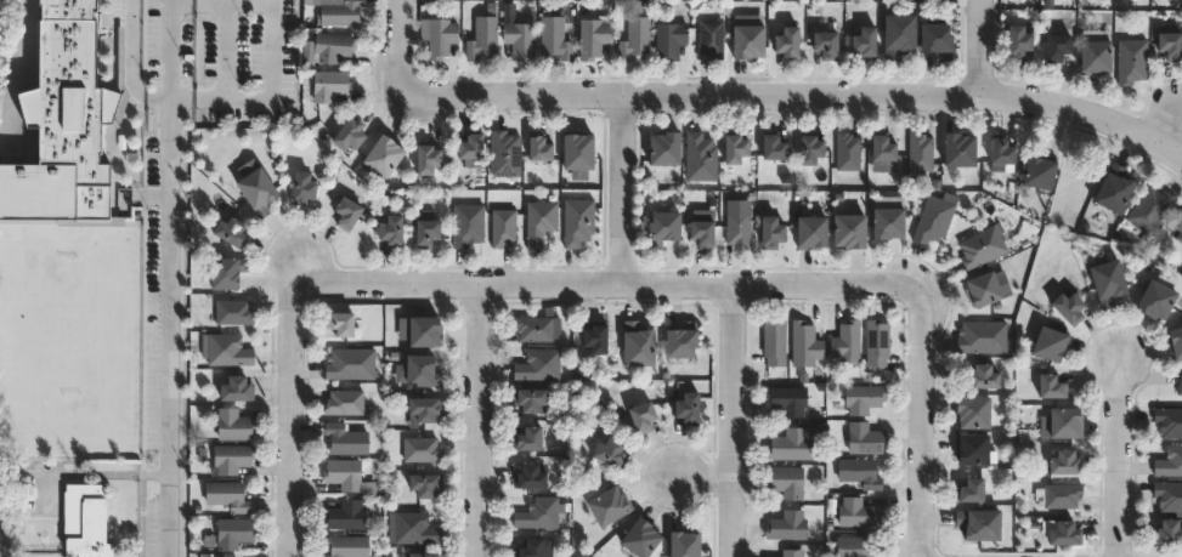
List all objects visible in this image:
building: (340, 12)
building: (251, 30)
building: (898, 34)
building: (440, 36)
building: (553, 36)
building: (592, 36)
building: (937, 36)
building: (482, 38)
building: (519, 38)
building: (635, 38)
building: (711, 38)
building: (669, 39)
building: (747, 40)
building: (1019, 40)
building: (787, 41)
building: (865, 41)
building: (826, 42)
building: (1171, 45)
building: (332, 46)
building: (1058, 46)
road: (400, 47)
road: (980, 47)
road: (272, 51)
building: (1096, 51)
parking lot: (249, 58)
building: (1132, 61)
road: (132, 64)
building: (329, 85)
road: (796, 95)
building: (63, 127)
building: (349, 133)
building: (774, 146)
building: (538, 147)
building: (470, 148)
building: (664, 148)
building: (735, 148)
building: (810, 148)
building: (960, 149)
building: (575, 150)
building: (847, 150)
building: (882, 152)
building: (504, 153)
building: (1001, 153)
building: (383, 154)
building: (918, 154)
building: (700, 157)
building: (425, 158)
building: (1040, 172)
building: (301, 187)
building: (1114, 189)
building: (254, 191)
road: (621, 191)
building: (1149, 209)
building: (346, 211)
building: (888, 216)
building: (934, 217)
building: (539, 221)
building: (577, 221)
building: (466, 223)
building: (502, 224)
building: (663, 226)
building: (739, 227)
building: (849, 229)
building: (1178, 229)
building: (230, 231)
building: (390, 231)
building: (425, 231)
building: (771, 232)
building: (811, 232)
building: (702, 233)
building: (982, 246)
building: (225, 272)
road: (170, 278)
building: (1108, 279)
road: (610, 285)
building: (983, 289)
building: (1154, 297)
building: (1067, 306)
building: (232, 311)
building: (340, 323)
building: (533, 328)
building: (424, 331)
building: (982, 336)
building: (595, 337)
building: (679, 340)
building: (846, 341)
building: (1176, 341)
building: (774, 342)
building: (877, 342)
building: (1050, 343)
building: (638, 345)
building: (804, 345)
building: (224, 349)
building: (96, 359)
building: (350, 363)
building: (538, 365)
building: (420, 370)
building: (984, 377)
building: (1051, 386)
building: (1180, 387)
building: (234, 390)
building: (863, 398)
building: (530, 399)
building: (787, 399)
building: (344, 402)
building: (424, 408)
building: (688, 409)
building: (973, 413)
building: (641, 416)
road: (292, 420)
road: (482, 421)
road: (734, 421)
building: (1169, 421)
road: (923, 422)
building: (1062, 424)
building: (232, 425)
building: (864, 438)
building: (344, 439)
building: (528, 439)
building: (790, 445)
building: (420, 449)
building: (974, 449)
building: (607, 451)
building: (231, 457)
road: (1121, 460)
building: (1169, 461)
building: (1065, 462)
road: (94, 472)
building: (859, 472)
building: (343, 473)
road: (703, 474)
building: (531, 477)
building: (786, 481)
building: (424, 484)
building: (972, 490)
building: (226, 495)
building: (1059, 495)
building: (1169, 496)
building: (609, 506)
building: (856, 512)
building: (539, 513)
building: (344, 516)
building: (84, 521)
building: (980, 524)
building: (787, 525)
building: (412, 528)
building: (232, 533)
building: (1062, 533)
building: (1170, 533)
building: (640, 538)
building: (684, 545)
building: (346, 546)
building: (853, 546)
building: (527, 549)
building: (791, 553)
building: (424, 555)

